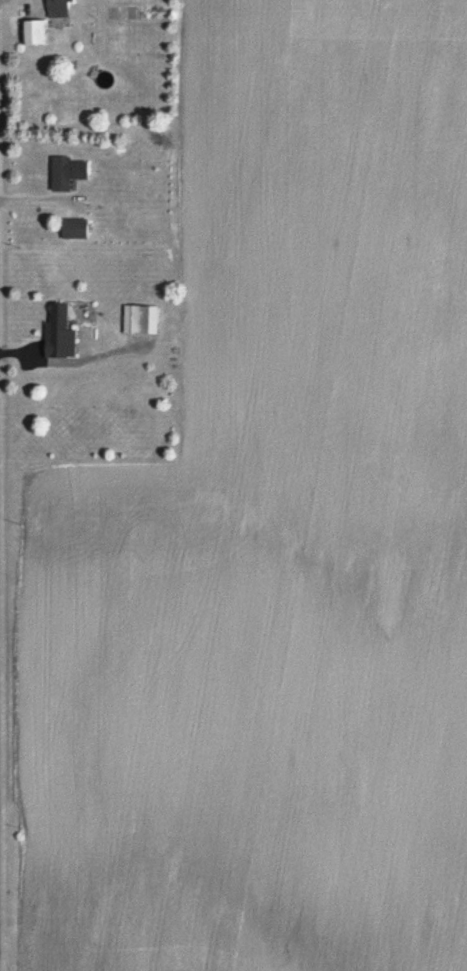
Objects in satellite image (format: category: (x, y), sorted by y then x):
building: (35, 33)
building: (68, 172)
building: (77, 228)
building: (142, 318)
building: (61, 331)
crop: (274, 535)

